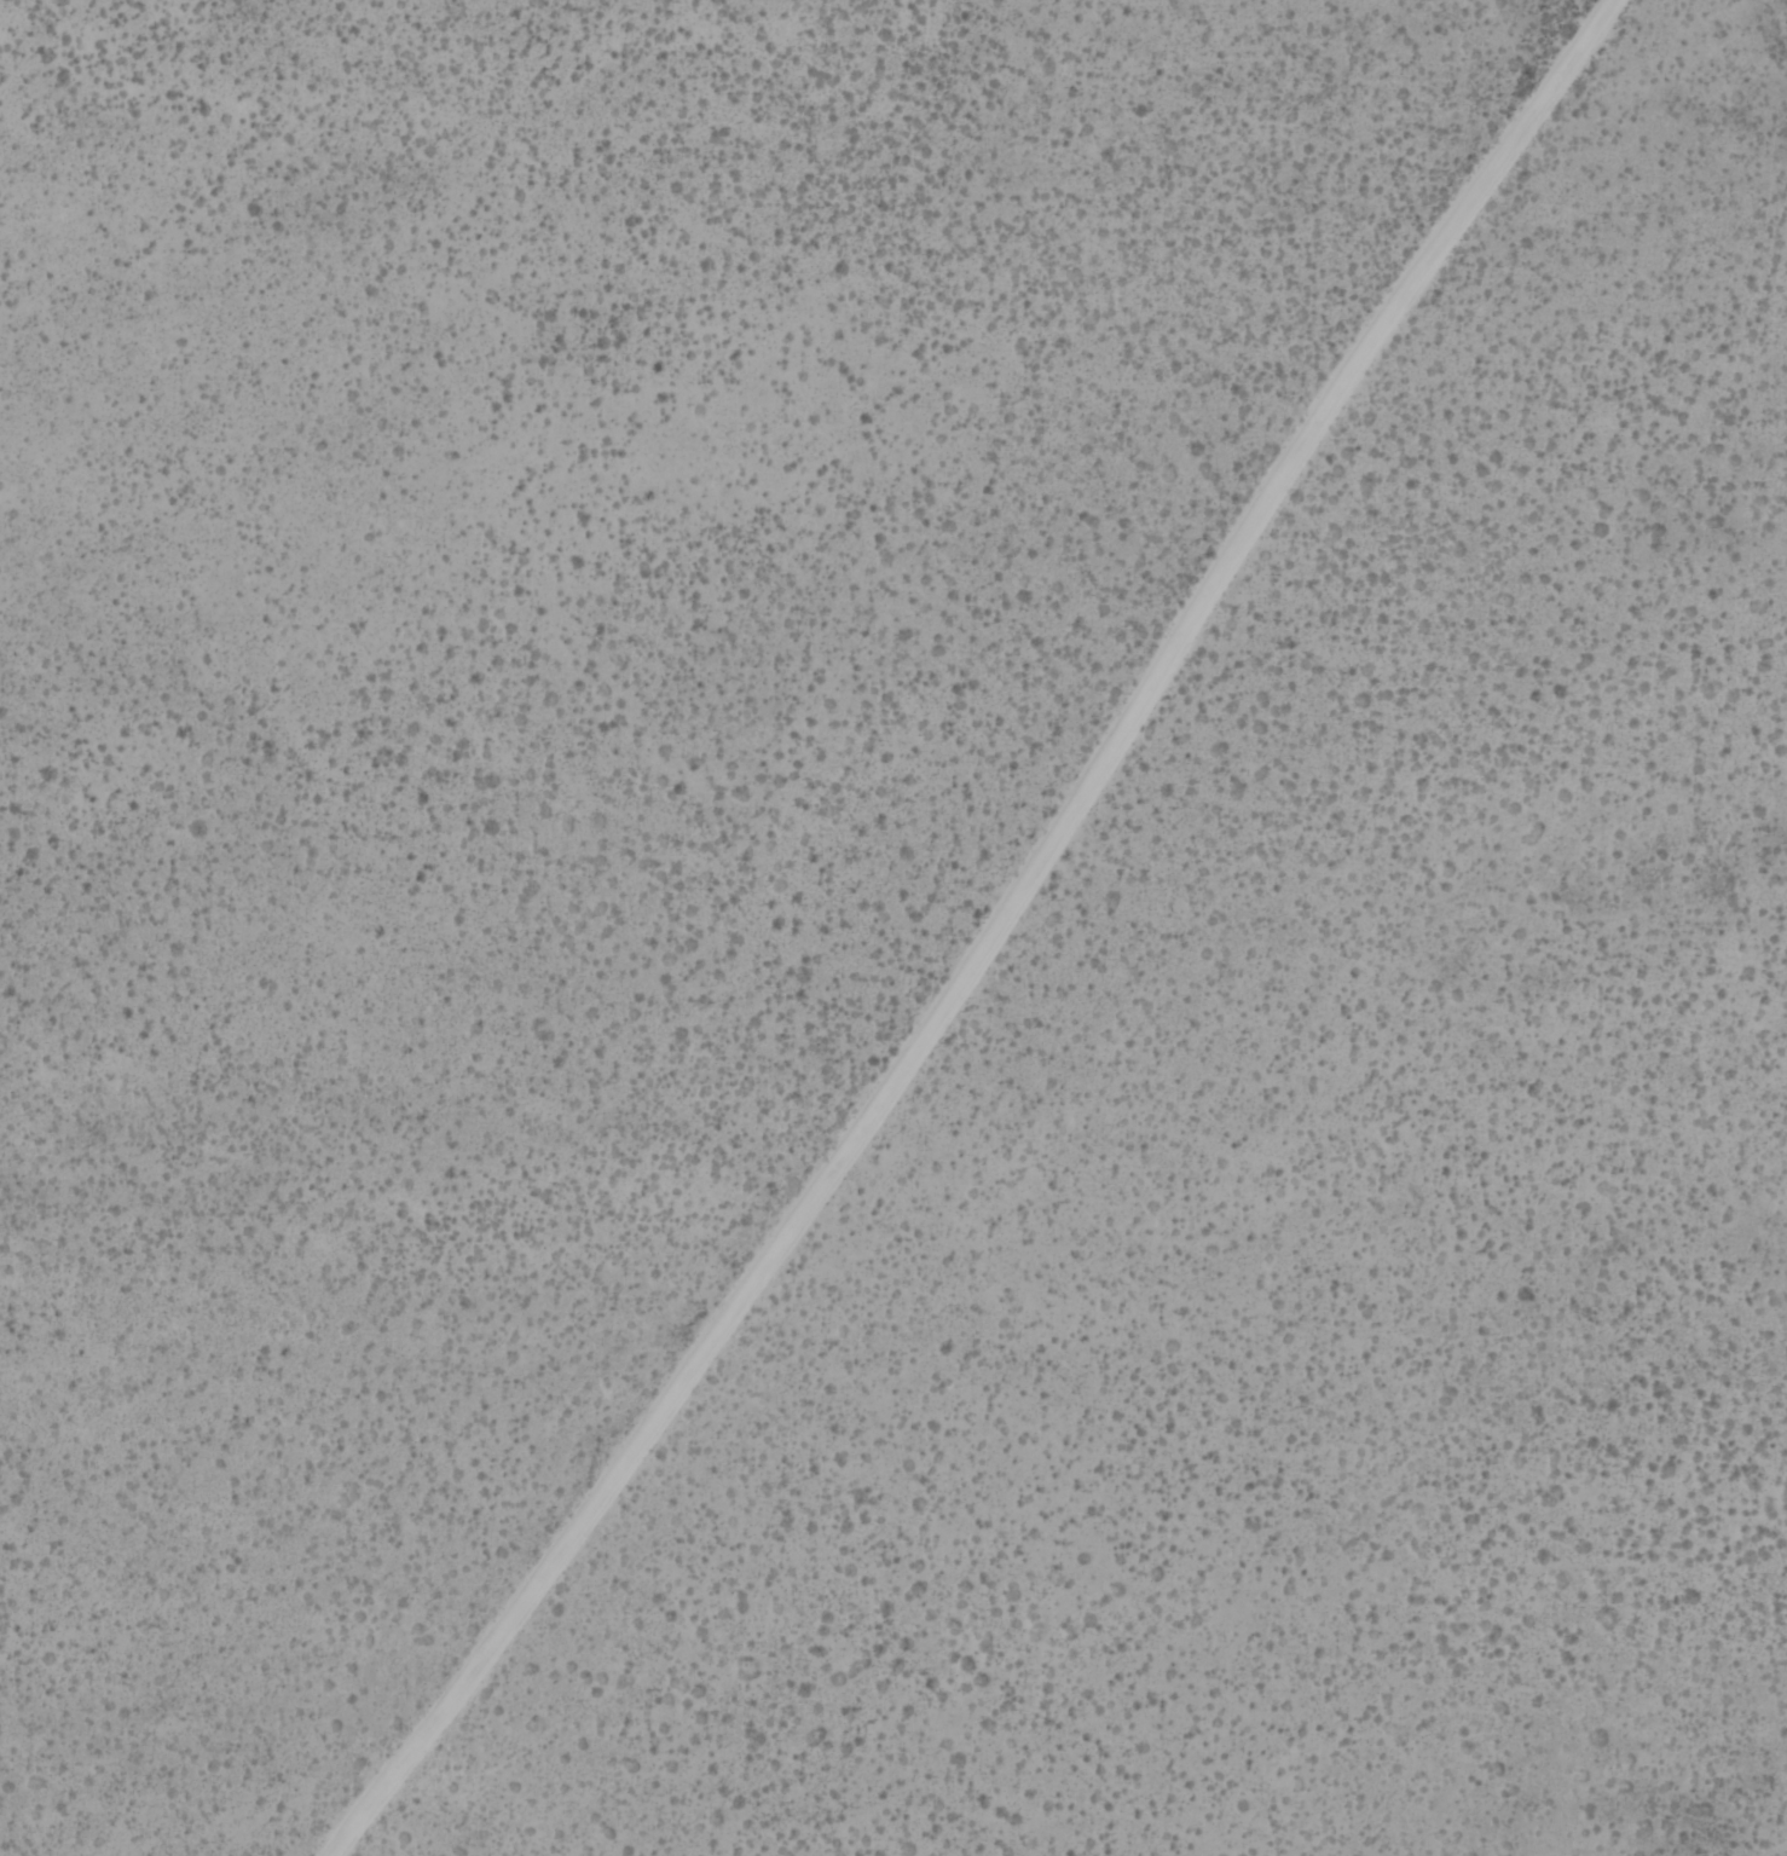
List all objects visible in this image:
road: (989, 937)

